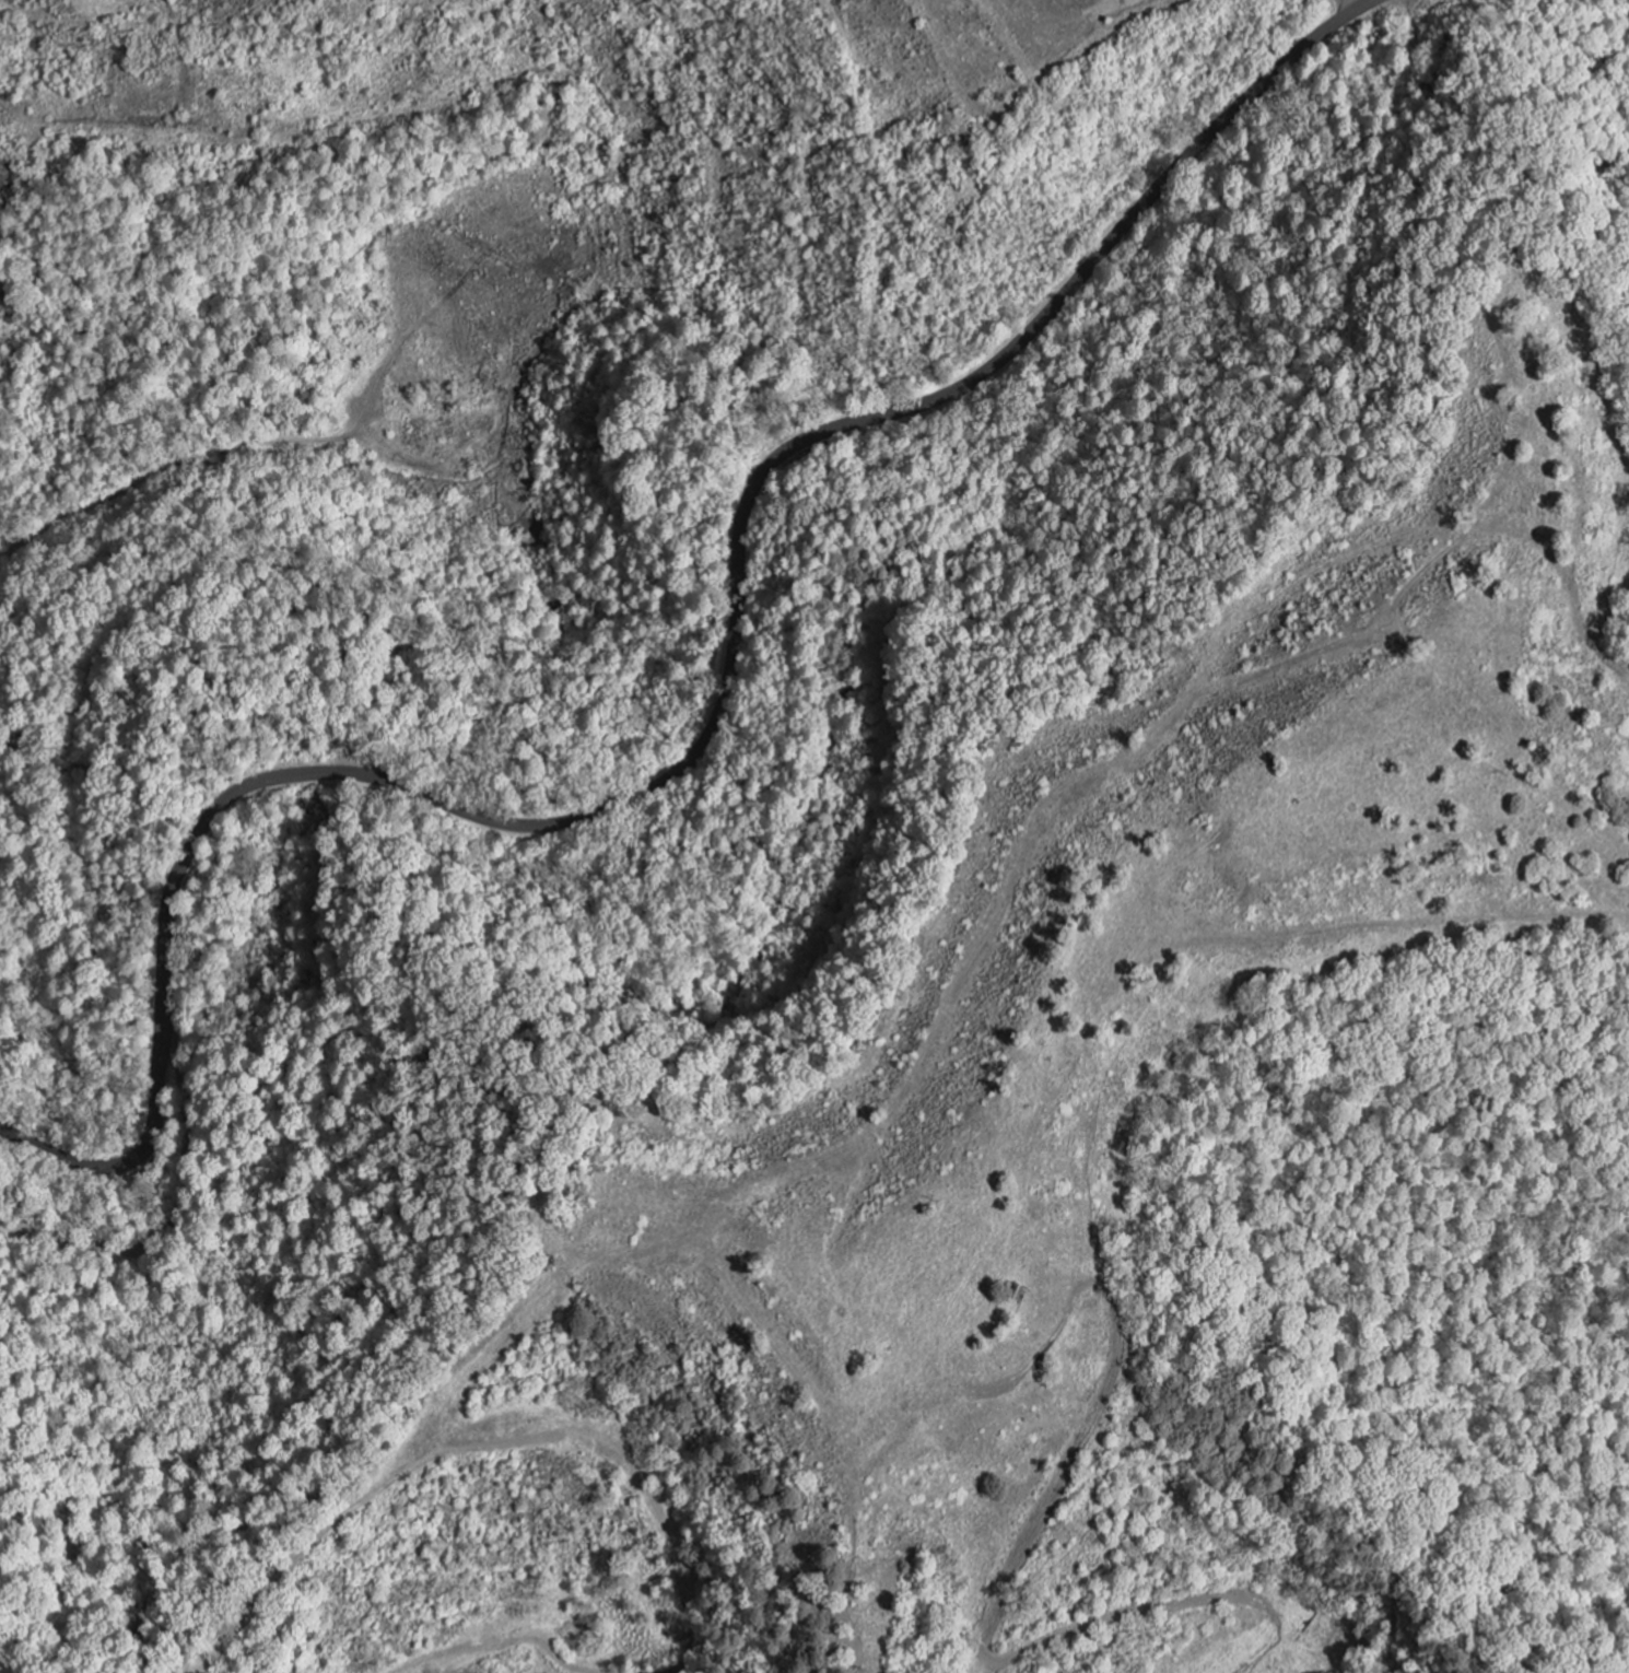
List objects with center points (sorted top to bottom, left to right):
road: (730, 654)
road: (74, 1158)

